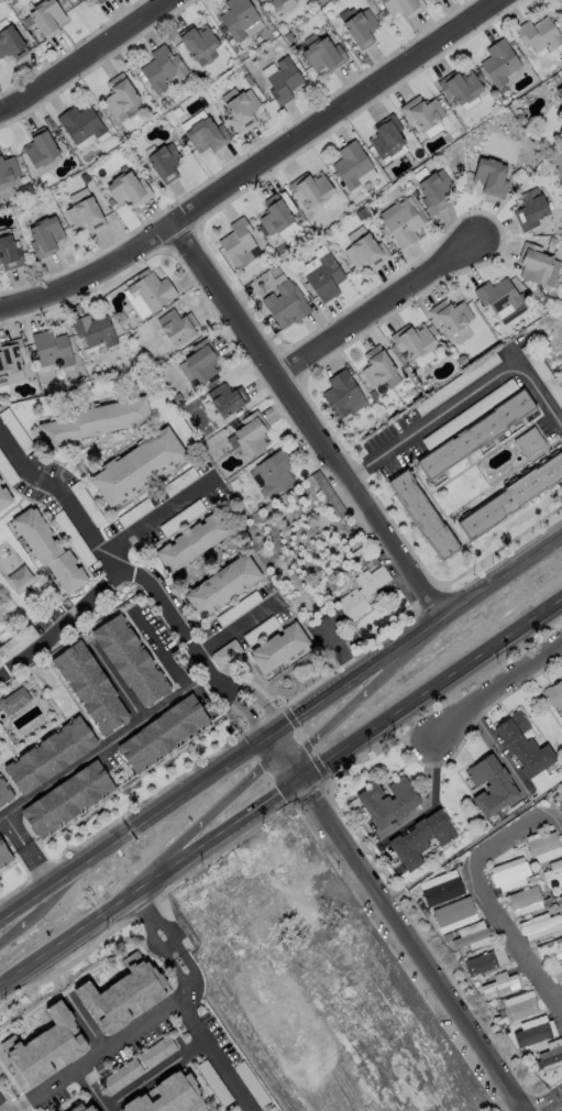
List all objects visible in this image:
building: (80, 0)
building: (84, 0)
building: (434, 0)
building: (101, 1)
building: (277, 2)
building: (403, 7)
building: (239, 18)
building: (47, 19)
building: (361, 28)
building: (539, 33)
building: (199, 42)
building: (12, 44)
road: (78, 51)
building: (323, 54)
building: (498, 62)
building: (164, 69)
building: (561, 78)
building: (283, 80)
building: (460, 86)
building: (559, 95)
building: (121, 96)
building: (241, 110)
building: (422, 111)
building: (81, 124)
building: (206, 134)
building: (386, 136)
building: (42, 148)
building: (164, 162)
building: (351, 164)
road: (257, 166)
building: (9, 169)
building: (491, 176)
building: (126, 188)
building: (310, 188)
building: (25, 190)
building: (433, 190)
building: (530, 208)
building: (85, 213)
building: (274, 215)
building: (401, 220)
building: (44, 235)
building: (239, 243)
building: (366, 251)
building: (10, 253)
building: (533, 263)
building: (324, 277)
building: (152, 290)
building: (497, 294)
building: (285, 304)
road: (378, 307)
building: (449, 315)
building: (177, 327)
building: (93, 330)
building: (411, 340)
building: (52, 348)
building: (10, 356)
building: (201, 360)
building: (376, 365)
building: (559, 373)
building: (342, 394)
road: (465, 394)
building: (227, 398)
road: (309, 418)
building: (96, 421)
building: (251, 432)
building: (477, 437)
building: (139, 469)
building: (274, 472)
road: (58, 485)
building: (3, 499)
building: (515, 499)
building: (426, 517)
road: (153, 520)
building: (67, 529)
building: (42, 540)
building: (194, 542)
road: (144, 582)
building: (221, 584)
building: (361, 590)
building: (239, 608)
road: (232, 624)
building: (261, 628)
building: (13, 631)
building: (18, 640)
building: (277, 649)
building: (225, 651)
building: (131, 659)
road: (118, 683)
building: (90, 690)
building: (553, 692)
building: (11, 694)
road: (496, 694)
road: (364, 698)
road: (139, 723)
road: (280, 725)
building: (164, 734)
traffic signals: (268, 735)
building: (525, 743)
building: (46, 747)
road: (500, 752)
building: (3, 782)
traffic signals: (301, 783)
building: (491, 784)
building: (561, 793)
building: (3, 795)
road: (280, 796)
building: (67, 799)
building: (387, 801)
road: (431, 803)
road: (558, 817)
road: (198, 820)
building: (421, 836)
building: (542, 844)
building: (3, 847)
road: (25, 849)
building: (509, 873)
building: (552, 875)
building: (441, 889)
building: (524, 898)
building: (560, 898)
road: (483, 899)
road: (146, 909)
building: (454, 910)
road: (25, 913)
road: (395, 922)
building: (539, 923)
road: (170, 932)
building: (472, 938)
road: (155, 942)
building: (549, 947)
building: (481, 963)
road: (192, 967)
road: (179, 975)
building: (557, 975)
building: (499, 982)
building: (122, 994)
building: (520, 1008)
road: (86, 1021)
building: (531, 1034)
building: (43, 1037)
road: (109, 1047)
building: (157, 1048)
road: (216, 1055)
building: (550, 1055)
road: (155, 1072)
building: (120, 1074)
building: (216, 1082)
building: (251, 1083)
road: (93, 1089)
building: (168, 1097)
road: (548, 1104)
road: (2, 1107)
building: (89, 1108)
road: (20, 1109)
building: (272, 1109)

